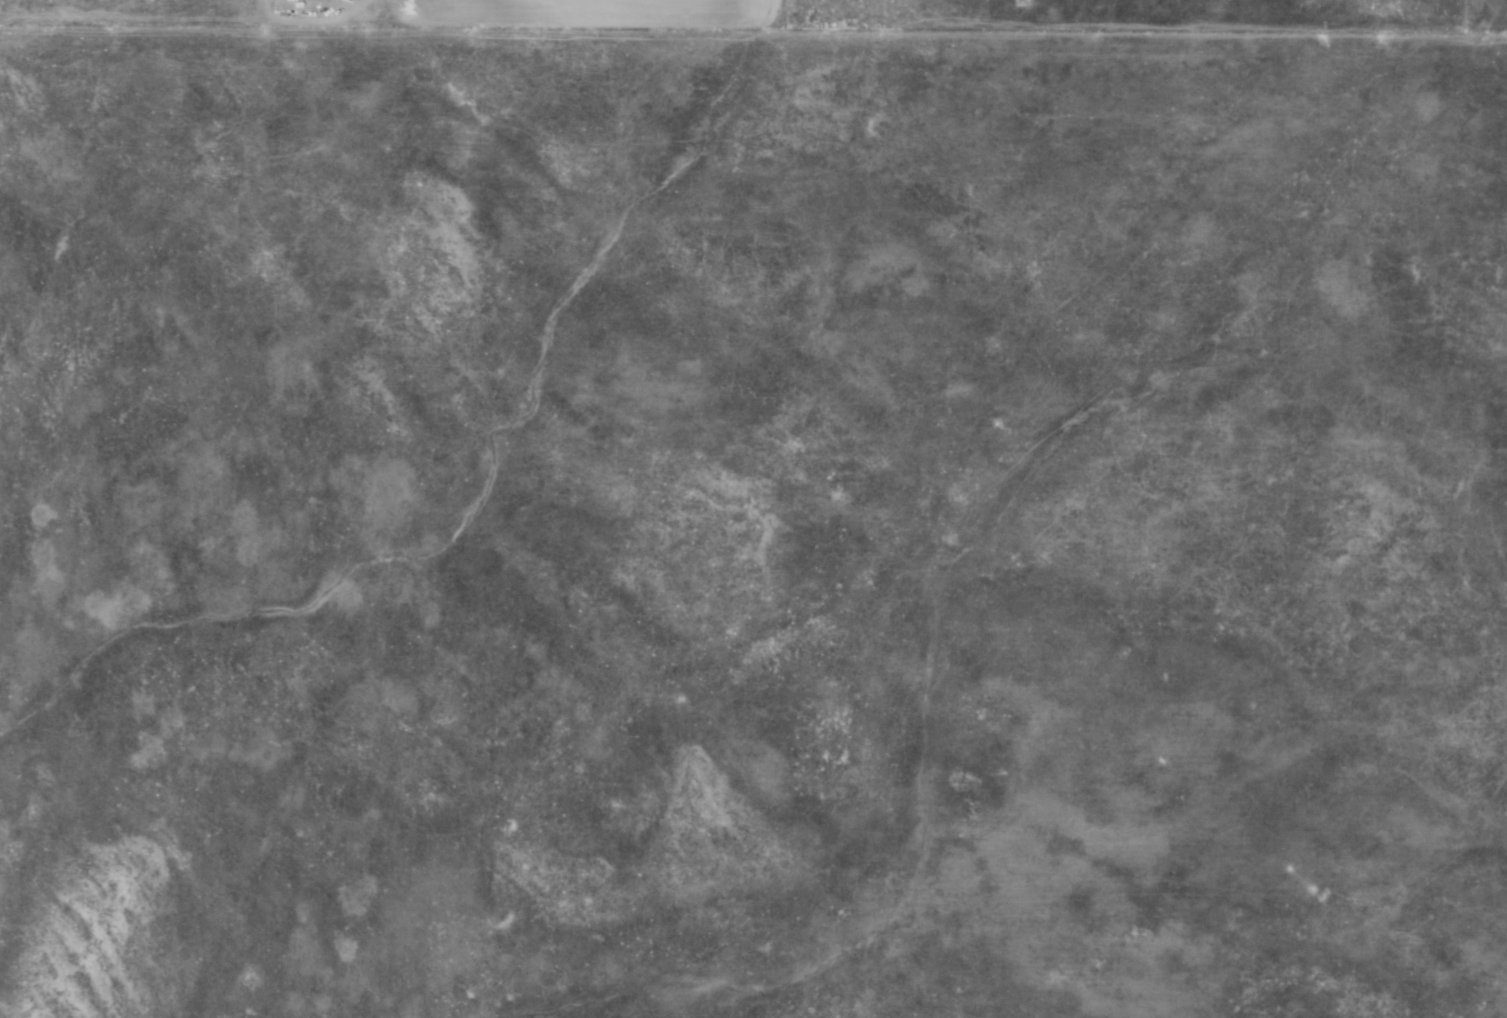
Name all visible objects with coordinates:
solar farm: (1489, 540)

